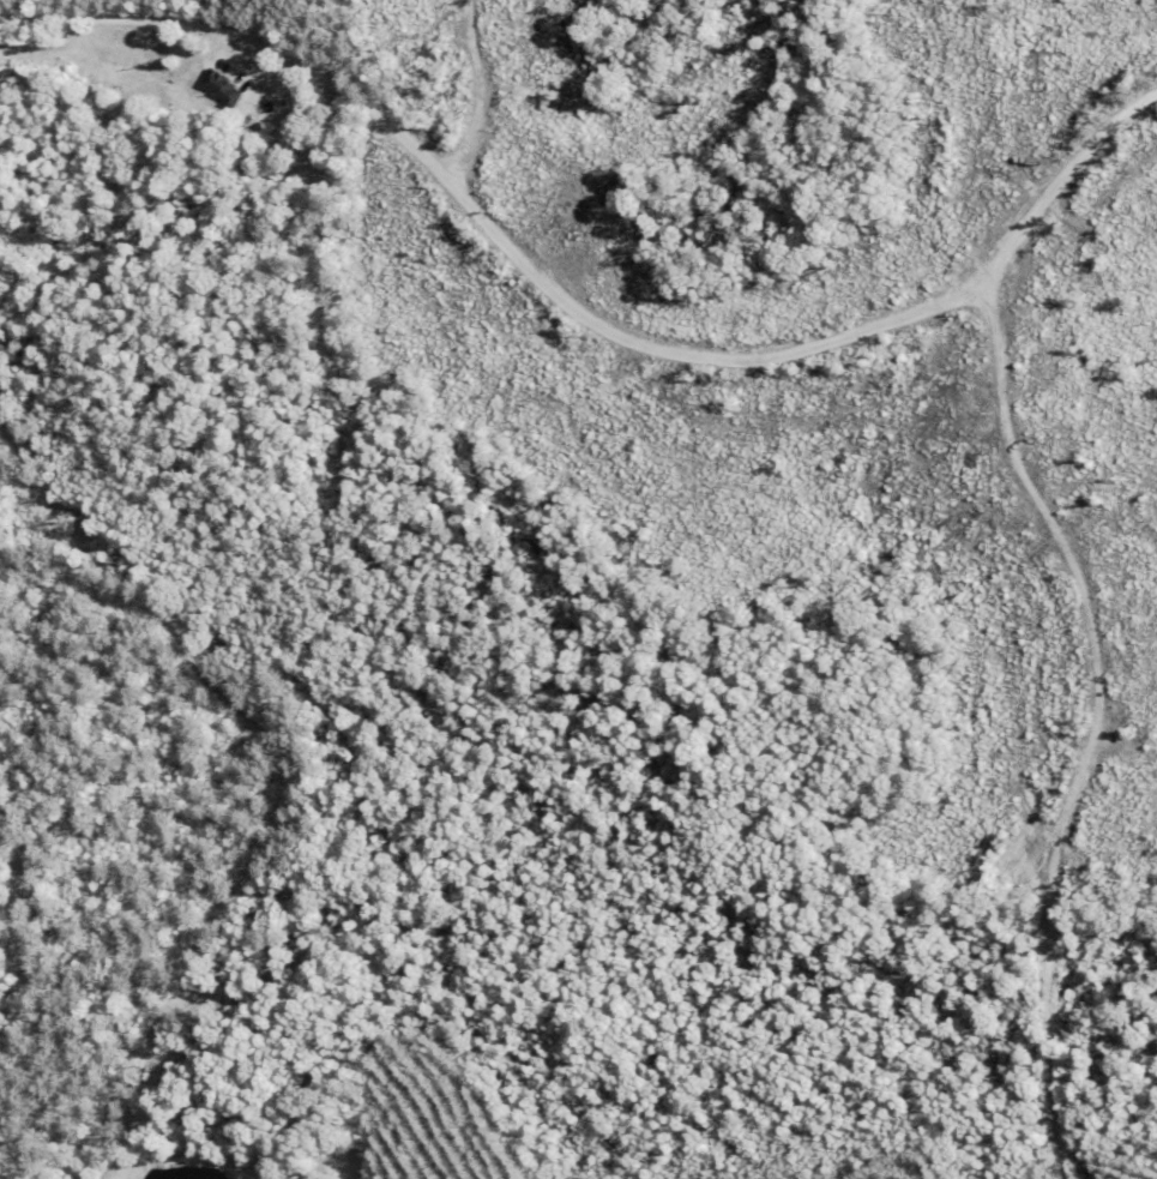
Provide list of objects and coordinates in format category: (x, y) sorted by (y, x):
building: (222, 89)
road: (577, 314)

